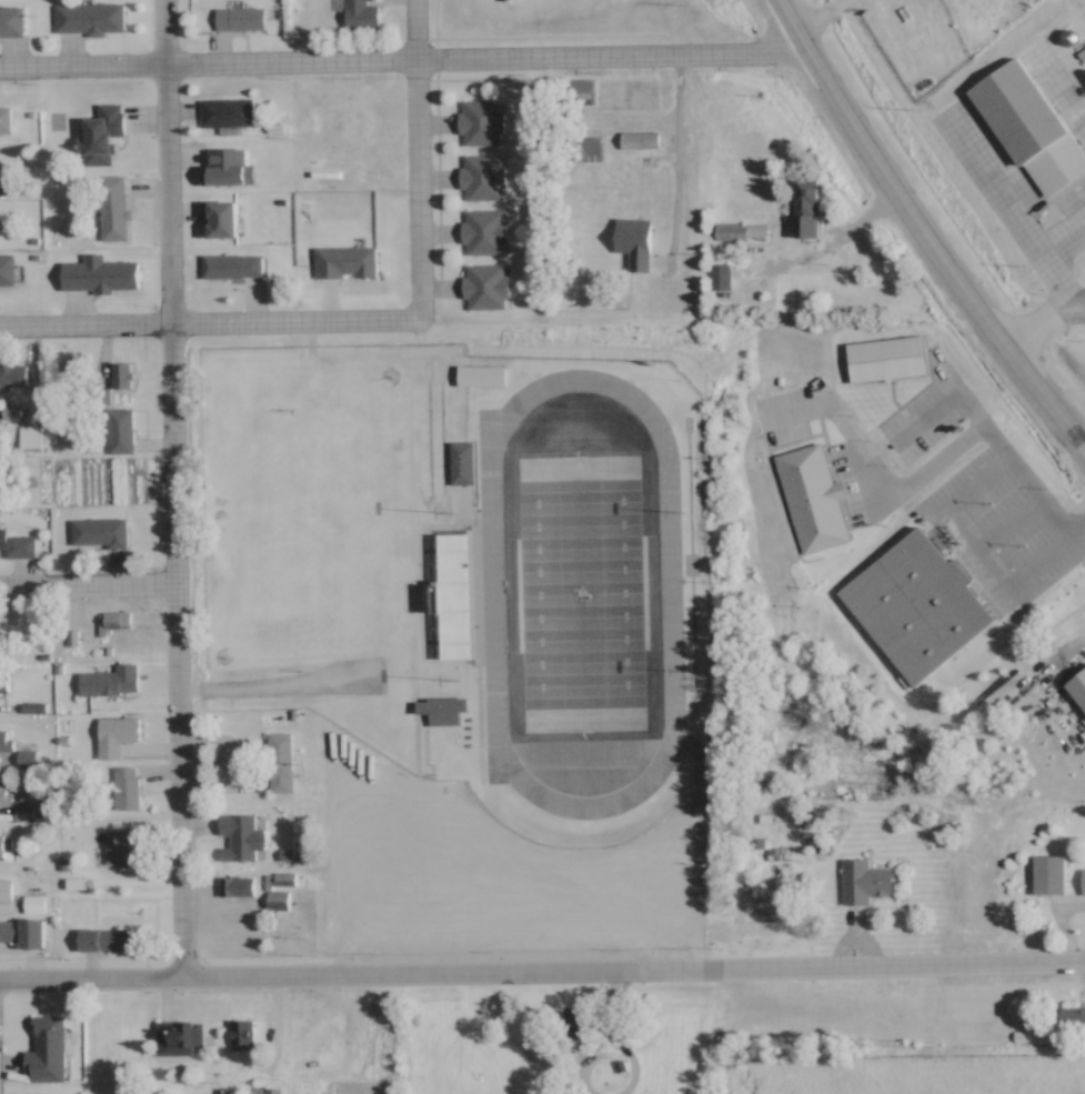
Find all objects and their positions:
road: (815, 14)
building: (360, 16)
building: (90, 20)
building: (240, 20)
building: (3, 21)
road: (483, 57)
road: (83, 64)
building: (580, 92)
building: (626, 94)
building: (228, 114)
road: (630, 118)
building: (4, 122)
building: (482, 123)
building: (1012, 128)
building: (103, 136)
building: (640, 141)
building: (587, 151)
road: (416, 159)
road: (677, 159)
building: (228, 168)
building: (358, 170)
building: (483, 179)
building: (6, 188)
road: (1013, 208)
building: (114, 209)
building: (805, 209)
building: (14, 211)
road: (860, 215)
building: (741, 231)
building: (485, 232)
road: (917, 232)
building: (634, 243)
building: (232, 268)
building: (7, 271)
building: (720, 277)
building: (486, 288)
road: (1043, 321)
road: (86, 327)
road: (294, 328)
building: (887, 360)
building: (12, 377)
building: (122, 377)
building: (4, 432)
building: (121, 432)
road: (986, 434)
building: (30, 438)
building: (462, 463)
road: (871, 472)
road: (174, 489)
building: (812, 500)
building: (466, 522)
road: (1001, 528)
building: (99, 533)
building: (20, 546)
road: (974, 566)
track: (664, 583)
road: (88, 584)
park: (581, 591)
building: (917, 605)
building: (108, 683)
road: (313, 683)
building: (331, 721)
building: (117, 735)
building: (4, 742)
building: (27, 757)
building: (280, 763)
power tower: (1026, 779)
building: (4, 787)
building: (128, 787)
road: (244, 796)
building: (242, 835)
building: (2, 846)
building: (123, 847)
building: (776, 854)
building: (1049, 874)
building: (284, 880)
building: (864, 882)
building: (1083, 882)
building: (237, 886)
building: (6, 896)
building: (278, 901)
building: (33, 904)
building: (349, 917)
building: (679, 921)
building: (23, 933)
building: (109, 941)
road: (633, 970)
road: (91, 978)
building: (1072, 1017)
building: (576, 1024)
building: (374, 1025)
building: (241, 1034)
building: (179, 1038)
power tower: (906, 1044)
building: (47, 1052)
building: (262, 1091)

